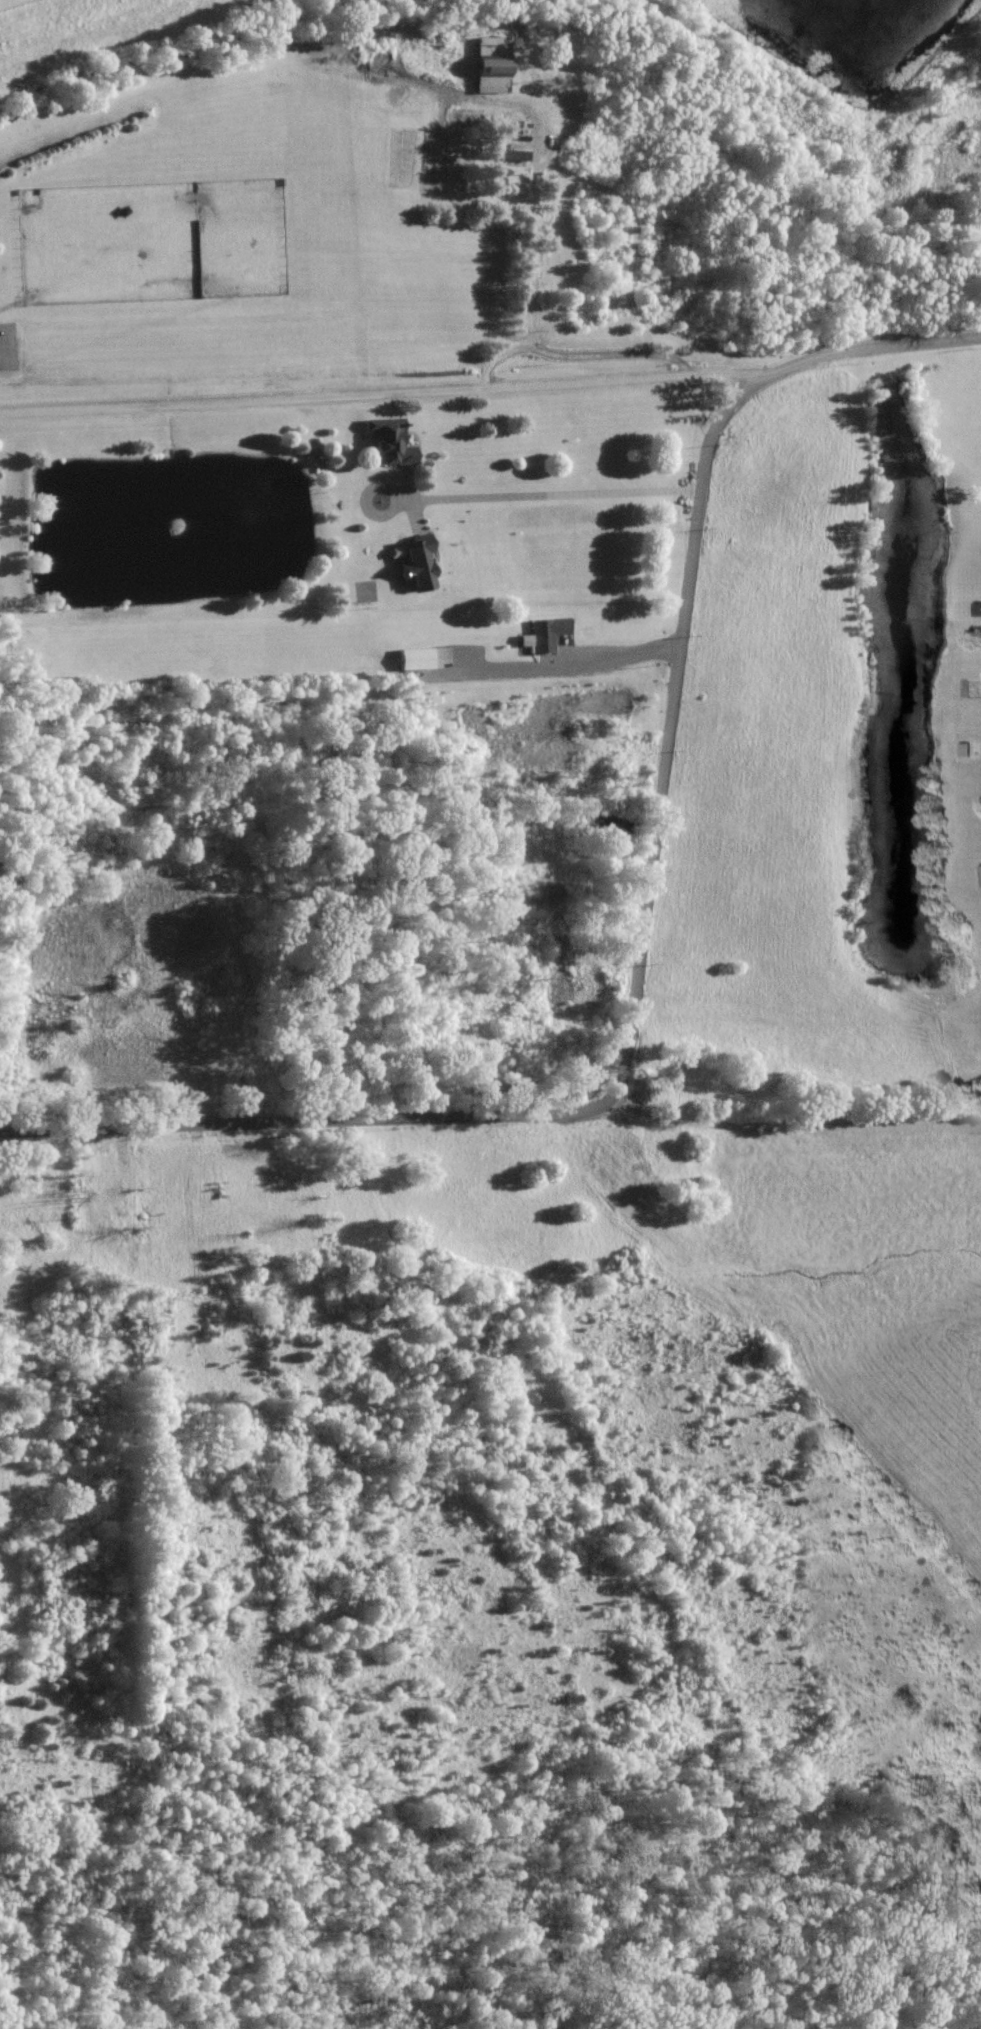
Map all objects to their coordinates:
building: (493, 64)
building: (506, 155)
road: (535, 259)
road: (578, 355)
road: (382, 393)
building: (390, 439)
road: (540, 495)
building: (416, 560)
building: (546, 634)
building: (416, 658)
road: (571, 664)
road: (674, 704)
road: (893, 1115)
road: (220, 1125)

